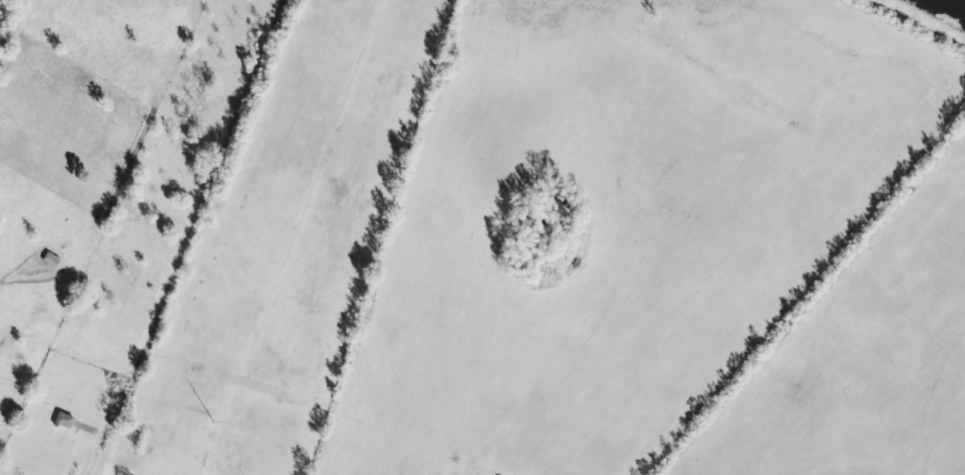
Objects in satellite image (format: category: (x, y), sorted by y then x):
building: (62, 420)

